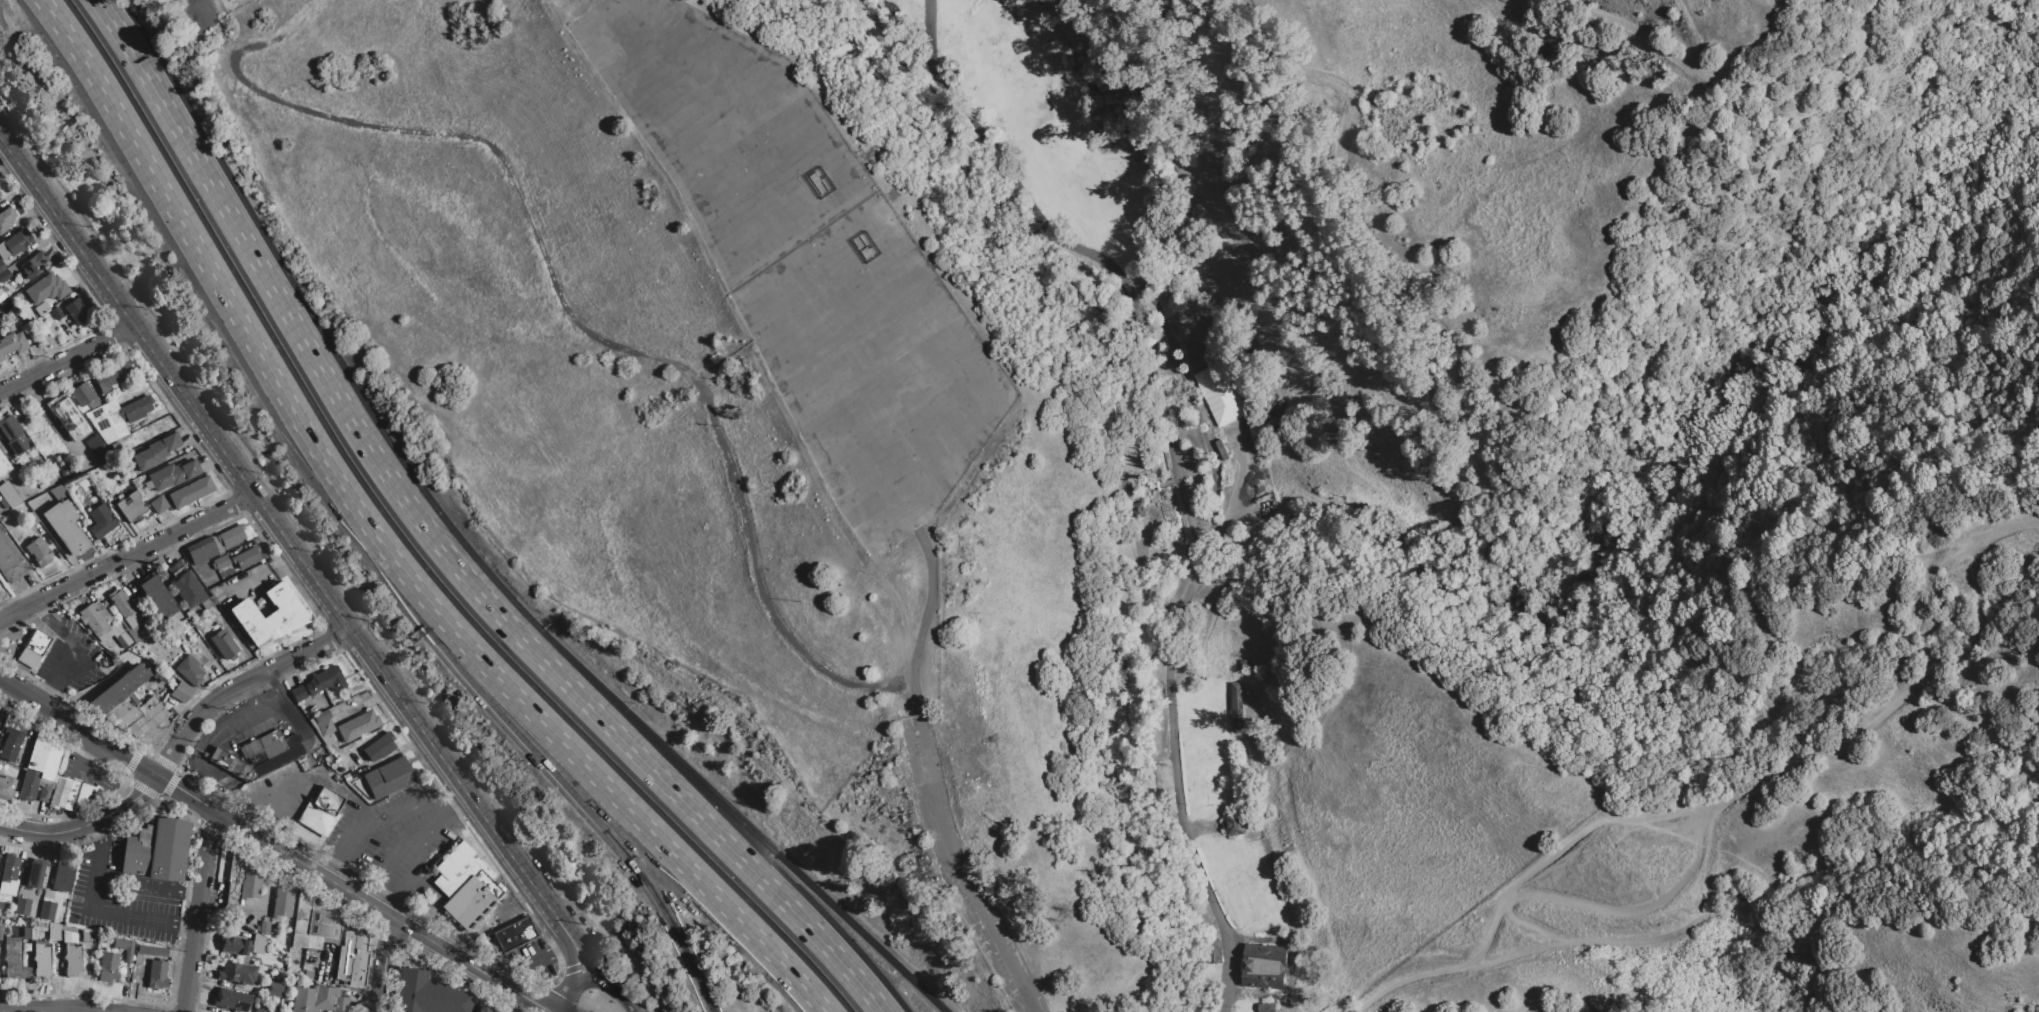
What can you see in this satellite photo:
road: (189, 2)
road: (191, 2)
road: (194, 2)
road: (197, 8)
road: (1711, 71)
road: (1138, 150)
road: (1332, 178)
building: (0, 193)
building: (0, 199)
building: (6, 218)
building: (17, 241)
building: (3, 251)
building: (33, 264)
building: (2, 266)
building: (4, 275)
road: (1915, 276)
road: (213, 280)
building: (46, 288)
building: (2, 294)
building: (40, 308)
building: (76, 312)
building: (56, 313)
road: (289, 317)
building: (11, 343)
road: (66, 358)
building: (111, 377)
building: (1220, 394)
building: (84, 396)
building: (124, 399)
building: (135, 408)
building: (66, 417)
building: (107, 422)
building: (13, 435)
building: (98, 449)
building: (154, 452)
building: (3, 466)
road: (1175, 474)
building: (170, 475)
building: (51, 477)
building: (57, 492)
building: (190, 492)
road: (460, 493)
building: (9, 494)
building: (3, 503)
building: (158, 504)
building: (131, 508)
building: (100, 521)
building: (64, 527)
road: (279, 530)
building: (230, 536)
building: (215, 544)
building: (38, 551)
building: (202, 553)
building: (247, 556)
road: (126, 557)
building: (10, 562)
building: (221, 562)
building: (184, 585)
building: (154, 595)
road: (413, 596)
building: (208, 602)
building: (124, 607)
building: (268, 615)
building: (93, 621)
road: (923, 623)
building: (223, 643)
building: (33, 649)
road: (70, 651)
building: (189, 671)
building: (324, 680)
road: (237, 685)
building: (118, 688)
road: (19, 691)
building: (181, 692)
building: (297, 693)
building: (1235, 708)
building: (138, 716)
building: (321, 716)
road: (62, 718)
building: (357, 725)
building: (325, 727)
building: (11, 740)
building: (291, 740)
building: (271, 743)
building: (379, 746)
building: (23, 747)
building: (249, 749)
road: (120, 754)
building: (44, 760)
building: (277, 760)
road: (76, 761)
road: (229, 764)
building: (231, 764)
building: (387, 777)
building: (27, 785)
building: (6, 787)
road: (605, 787)
building: (62, 793)
building: (43, 794)
road: (266, 795)
building: (327, 800)
road: (461, 808)
road: (729, 809)
road: (385, 813)
road: (590, 813)
road: (695, 814)
building: (316, 818)
road: (1719, 819)
road: (84, 822)
road: (1611, 823)
building: (1233, 824)
building: (306, 836)
road: (404, 842)
building: (156, 850)
building: (235, 867)
road: (416, 867)
building: (9, 868)
road: (332, 869)
building: (35, 875)
building: (62, 876)
road: (145, 883)
building: (250, 884)
building: (464, 885)
road: (353, 892)
road: (370, 892)
building: (232, 896)
building: (37, 898)
building: (281, 903)
building: (21, 906)
road: (97, 907)
road: (399, 908)
road: (195, 910)
building: (46, 911)
building: (302, 912)
building: (323, 920)
building: (263, 928)
building: (53, 932)
building: (26, 933)
building: (513, 934)
building: (85, 935)
building: (298, 940)
building: (318, 941)
building: (256, 944)
building: (234, 945)
building: (124, 948)
building: (148, 952)
building: (71, 954)
building: (352, 957)
building: (13, 958)
building: (40, 959)
road: (572, 959)
road: (382, 962)
road: (598, 965)
building: (107, 966)
building: (1264, 966)
building: (157, 974)
building: (236, 974)
building: (307, 974)
road: (590, 980)
building: (274, 989)
building: (428, 993)
building: (233, 999)
building: (318, 999)
road: (559, 1005)
road: (55, 1009)
building: (480, 1009)
building: (260, 1010)

